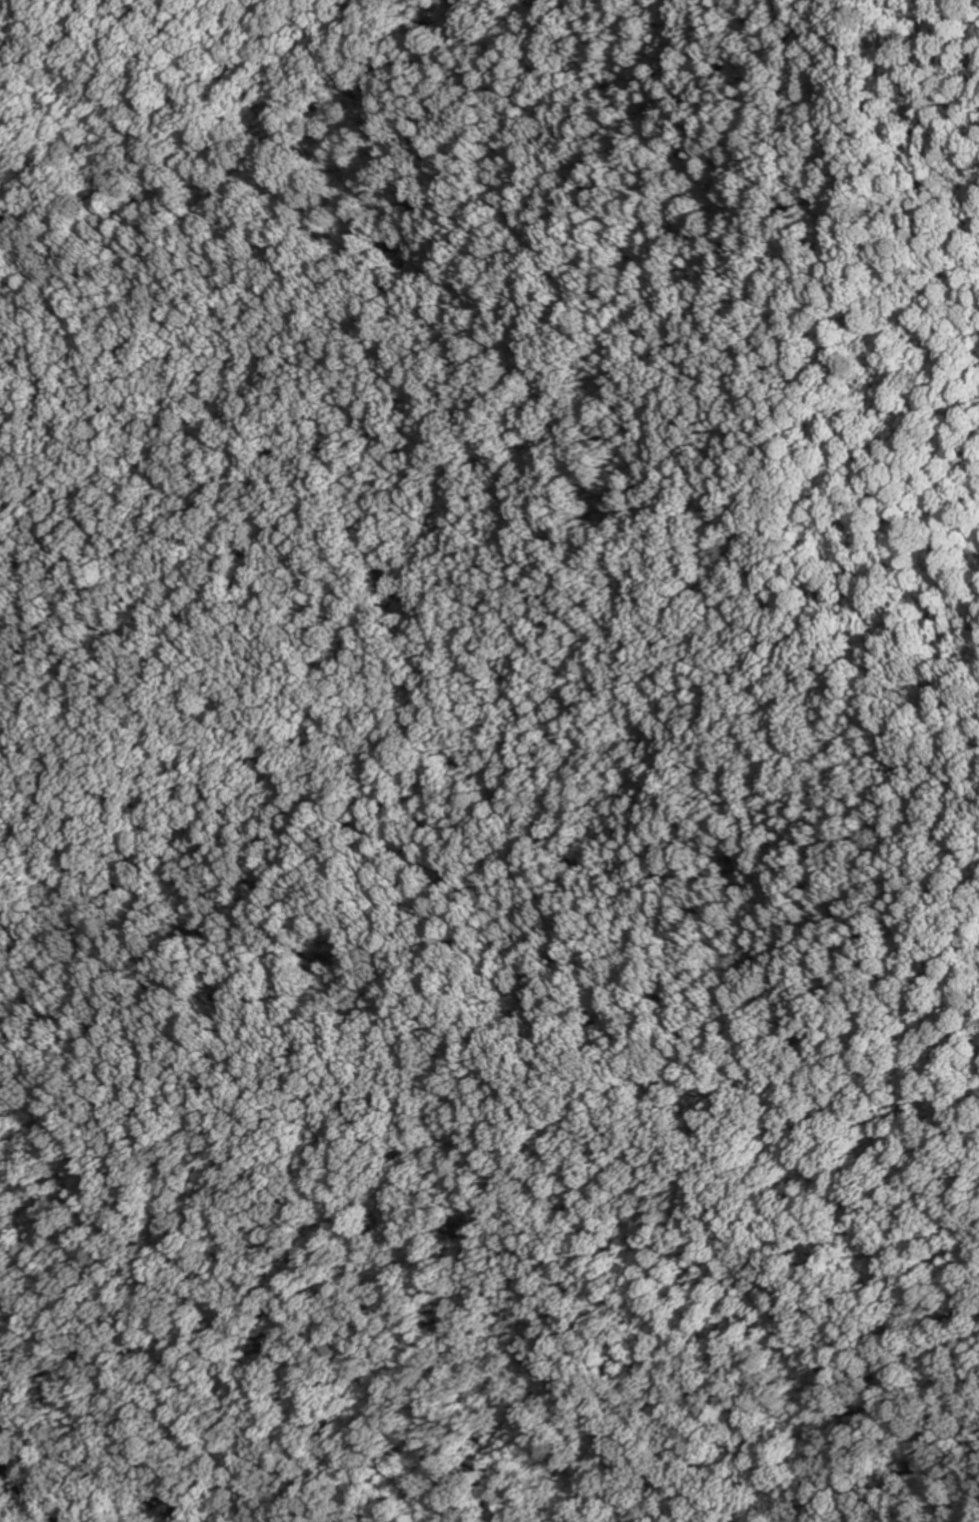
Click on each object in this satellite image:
road: (92, 1462)

